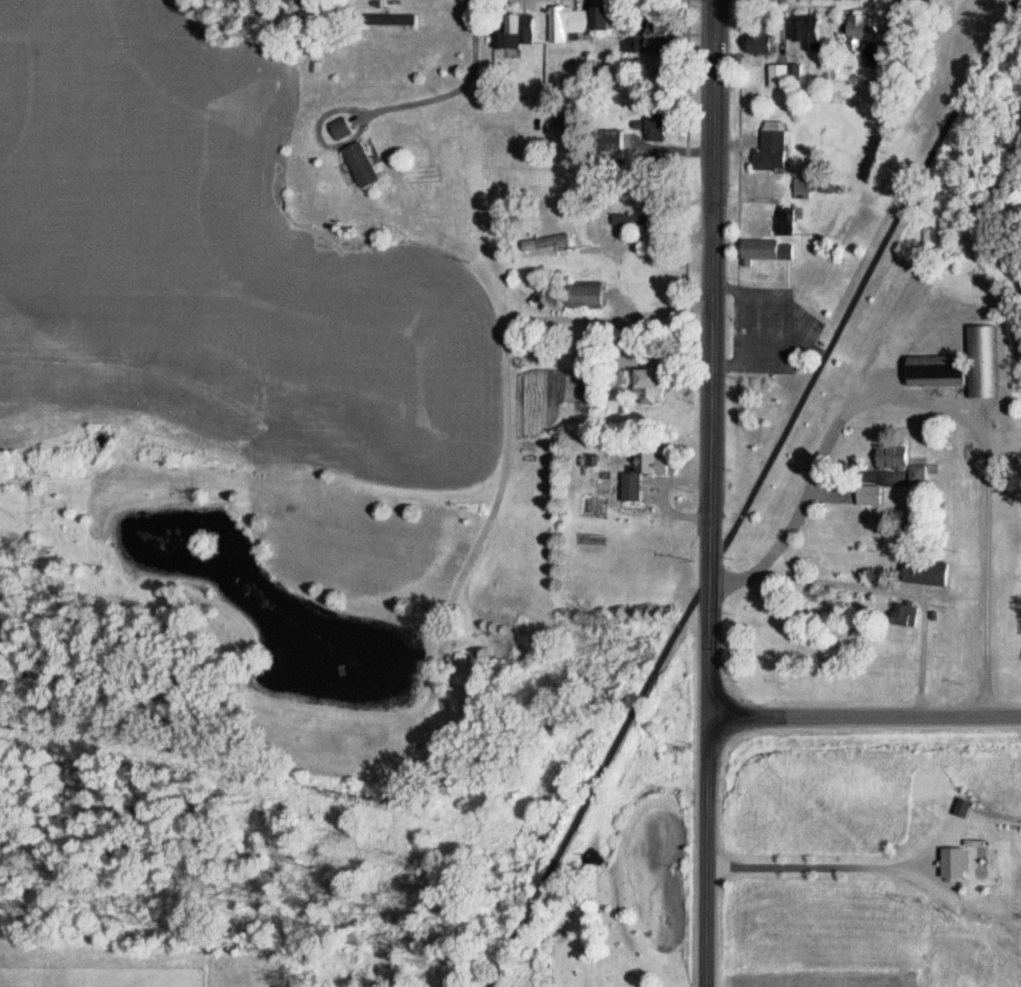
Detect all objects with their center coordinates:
building: (572, 22)
building: (858, 31)
building: (516, 32)
building: (805, 34)
building: (755, 42)
building: (648, 44)
building: (780, 76)
building: (337, 129)
building: (611, 141)
building: (769, 147)
building: (356, 165)
building: (628, 219)
building: (782, 222)
building: (541, 244)
building: (764, 251)
building: (579, 297)
road: (709, 360)
building: (980, 362)
building: (930, 373)
building: (644, 386)
road: (941, 408)
building: (894, 462)
building: (639, 474)
road: (745, 493)
building: (866, 497)
building: (921, 573)
road: (894, 591)
building: (899, 615)
road: (865, 718)
road: (708, 853)
building: (949, 862)

